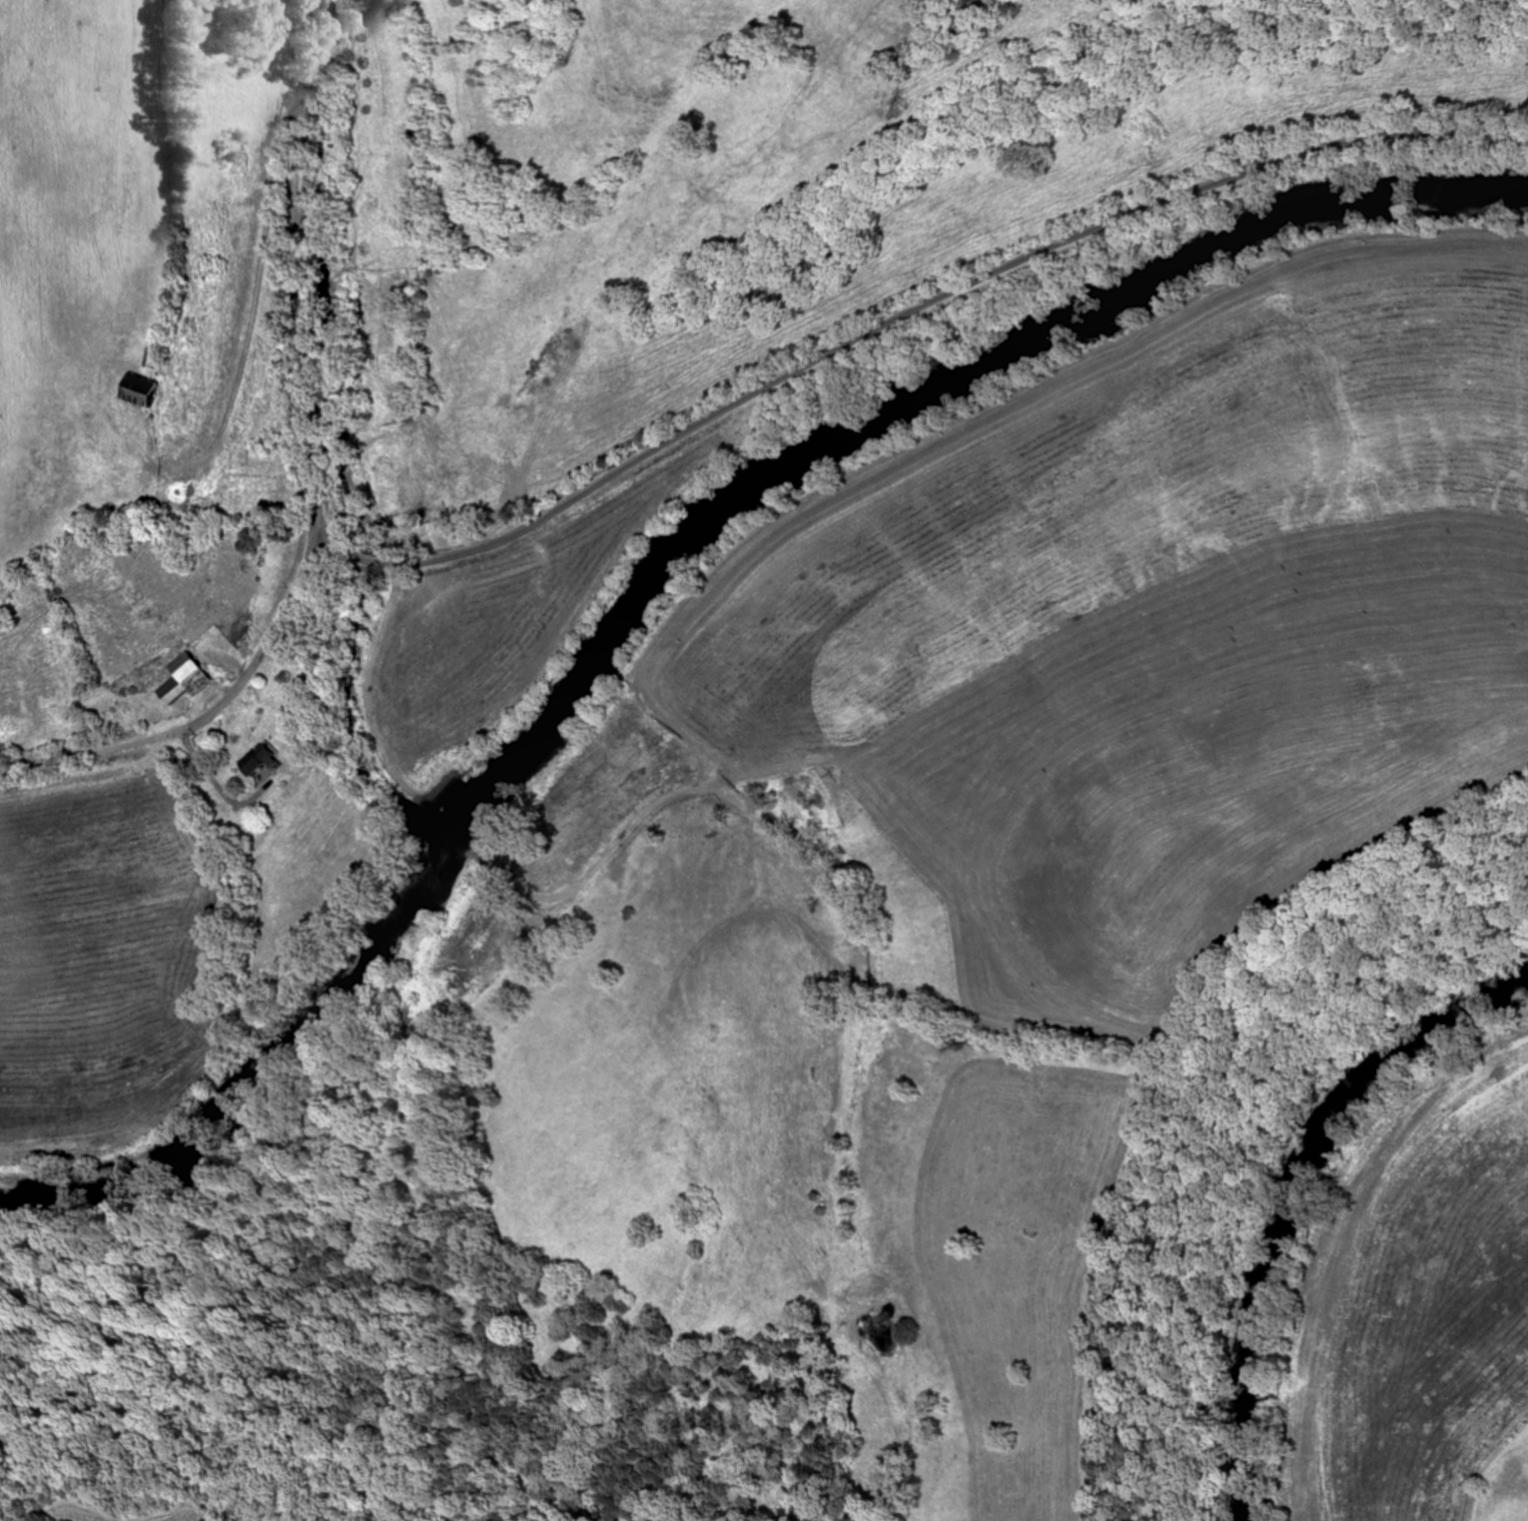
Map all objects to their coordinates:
road: (294, 264)
road: (901, 316)
building: (149, 390)
road: (313, 530)
river: (664, 551)
road: (257, 659)
building: (189, 678)
road: (73, 757)
river: (1299, 1201)

